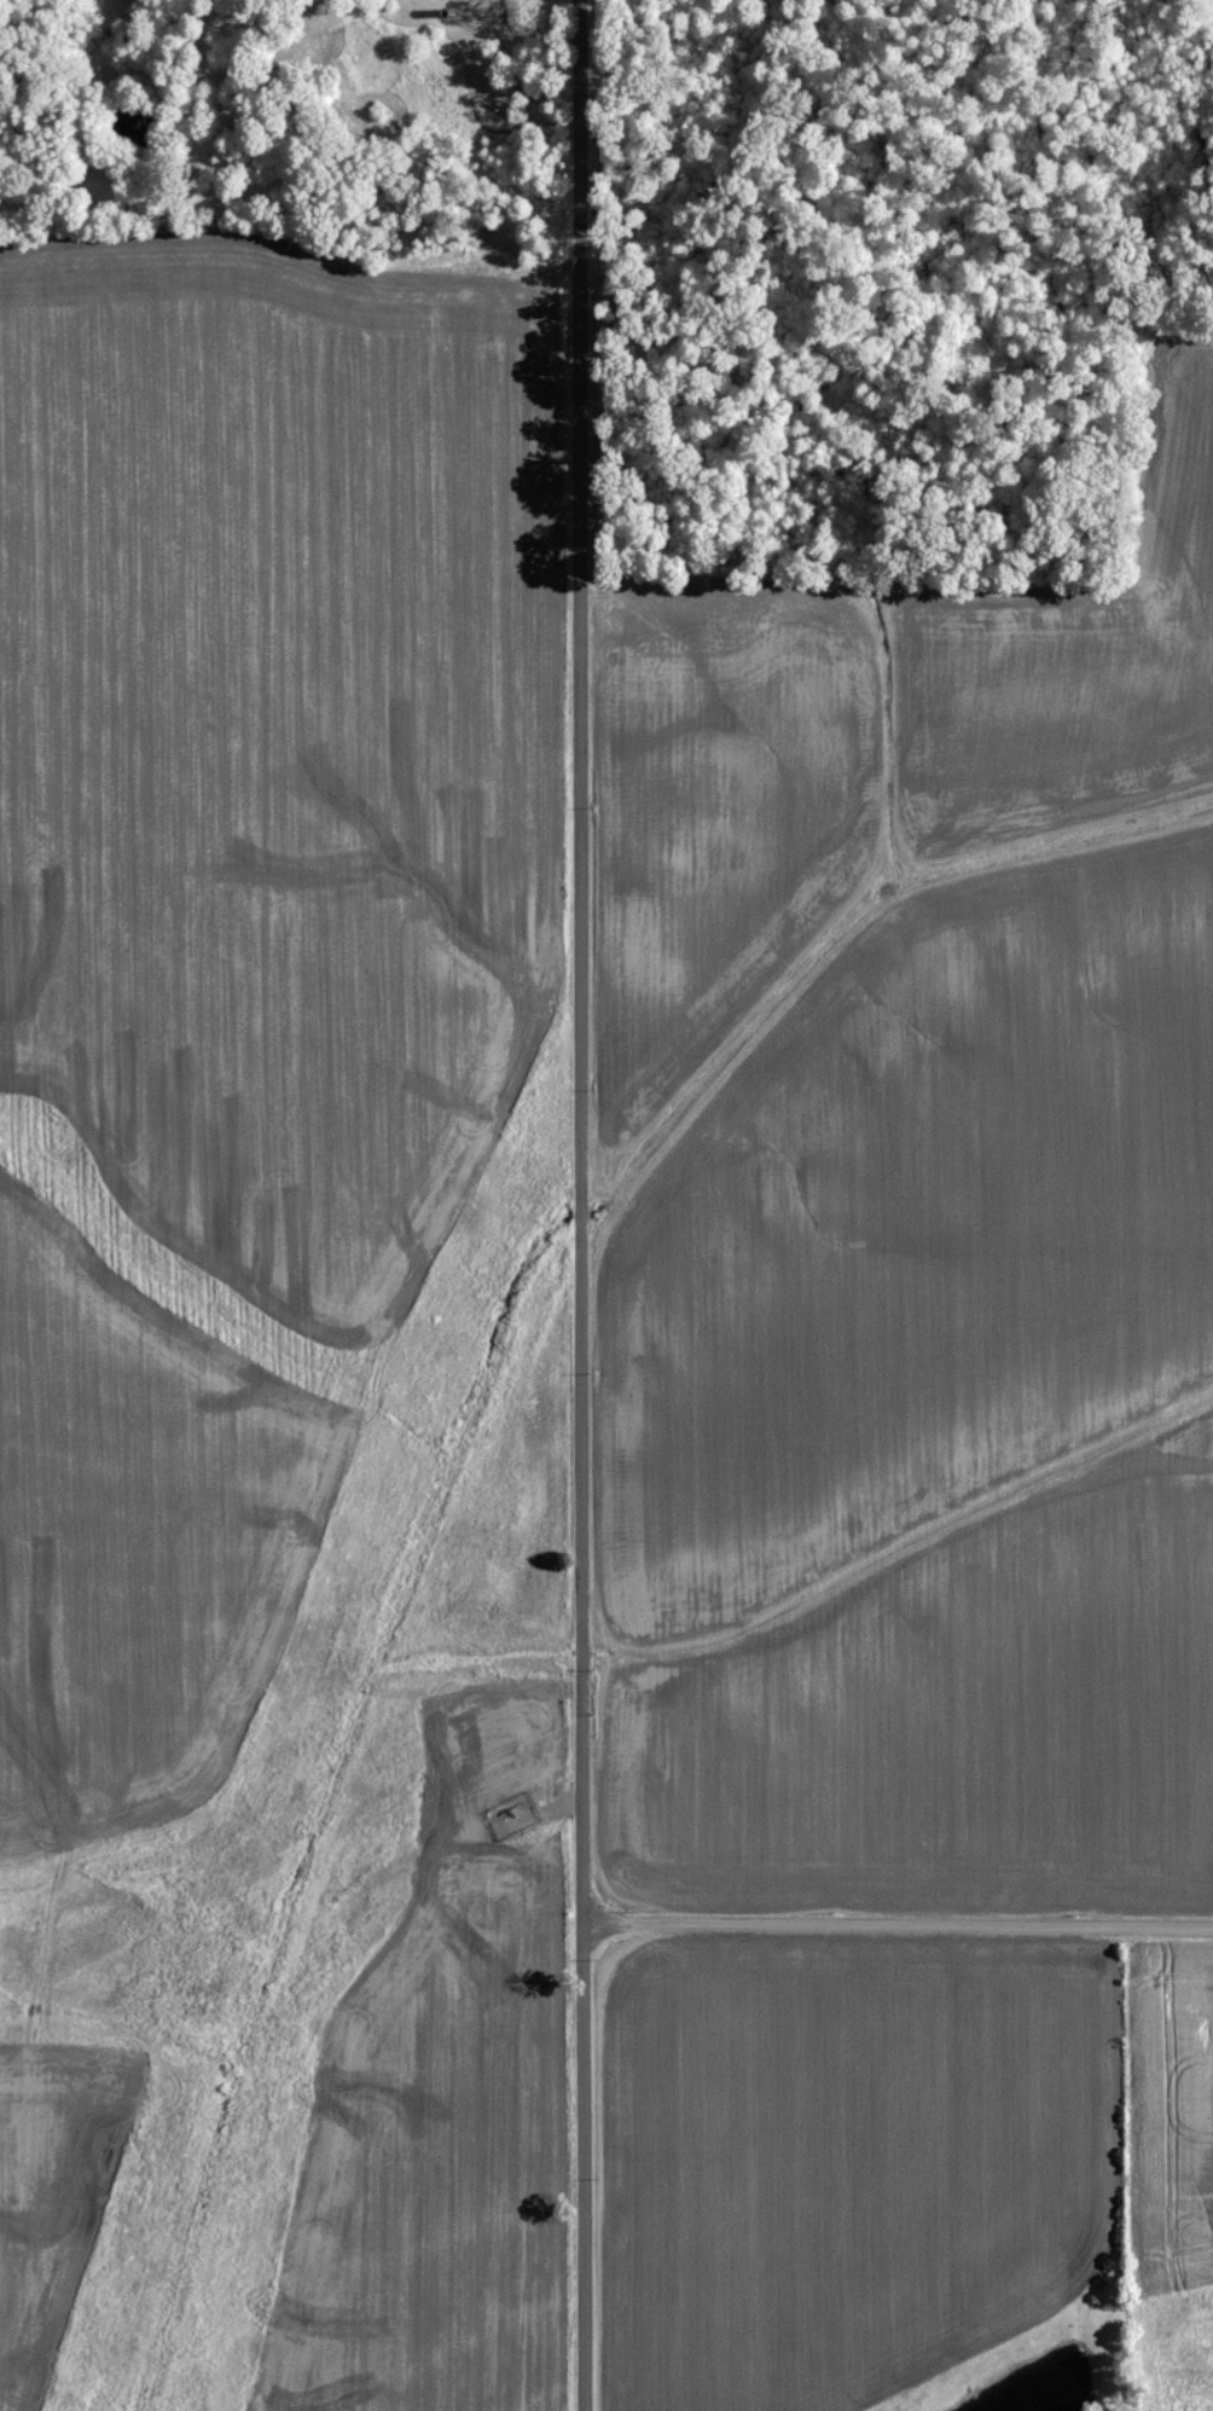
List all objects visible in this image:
road: (584, 1205)
road: (900, 1922)

